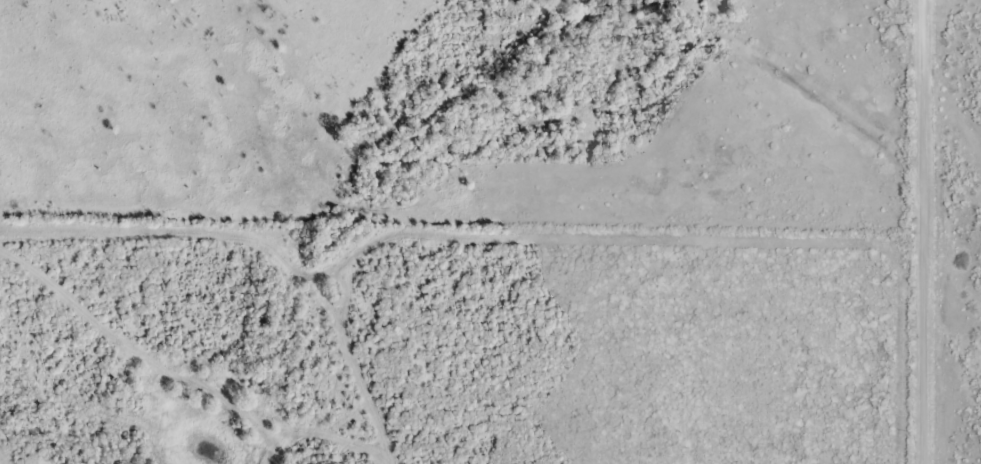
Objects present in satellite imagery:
road: (920, 232)

